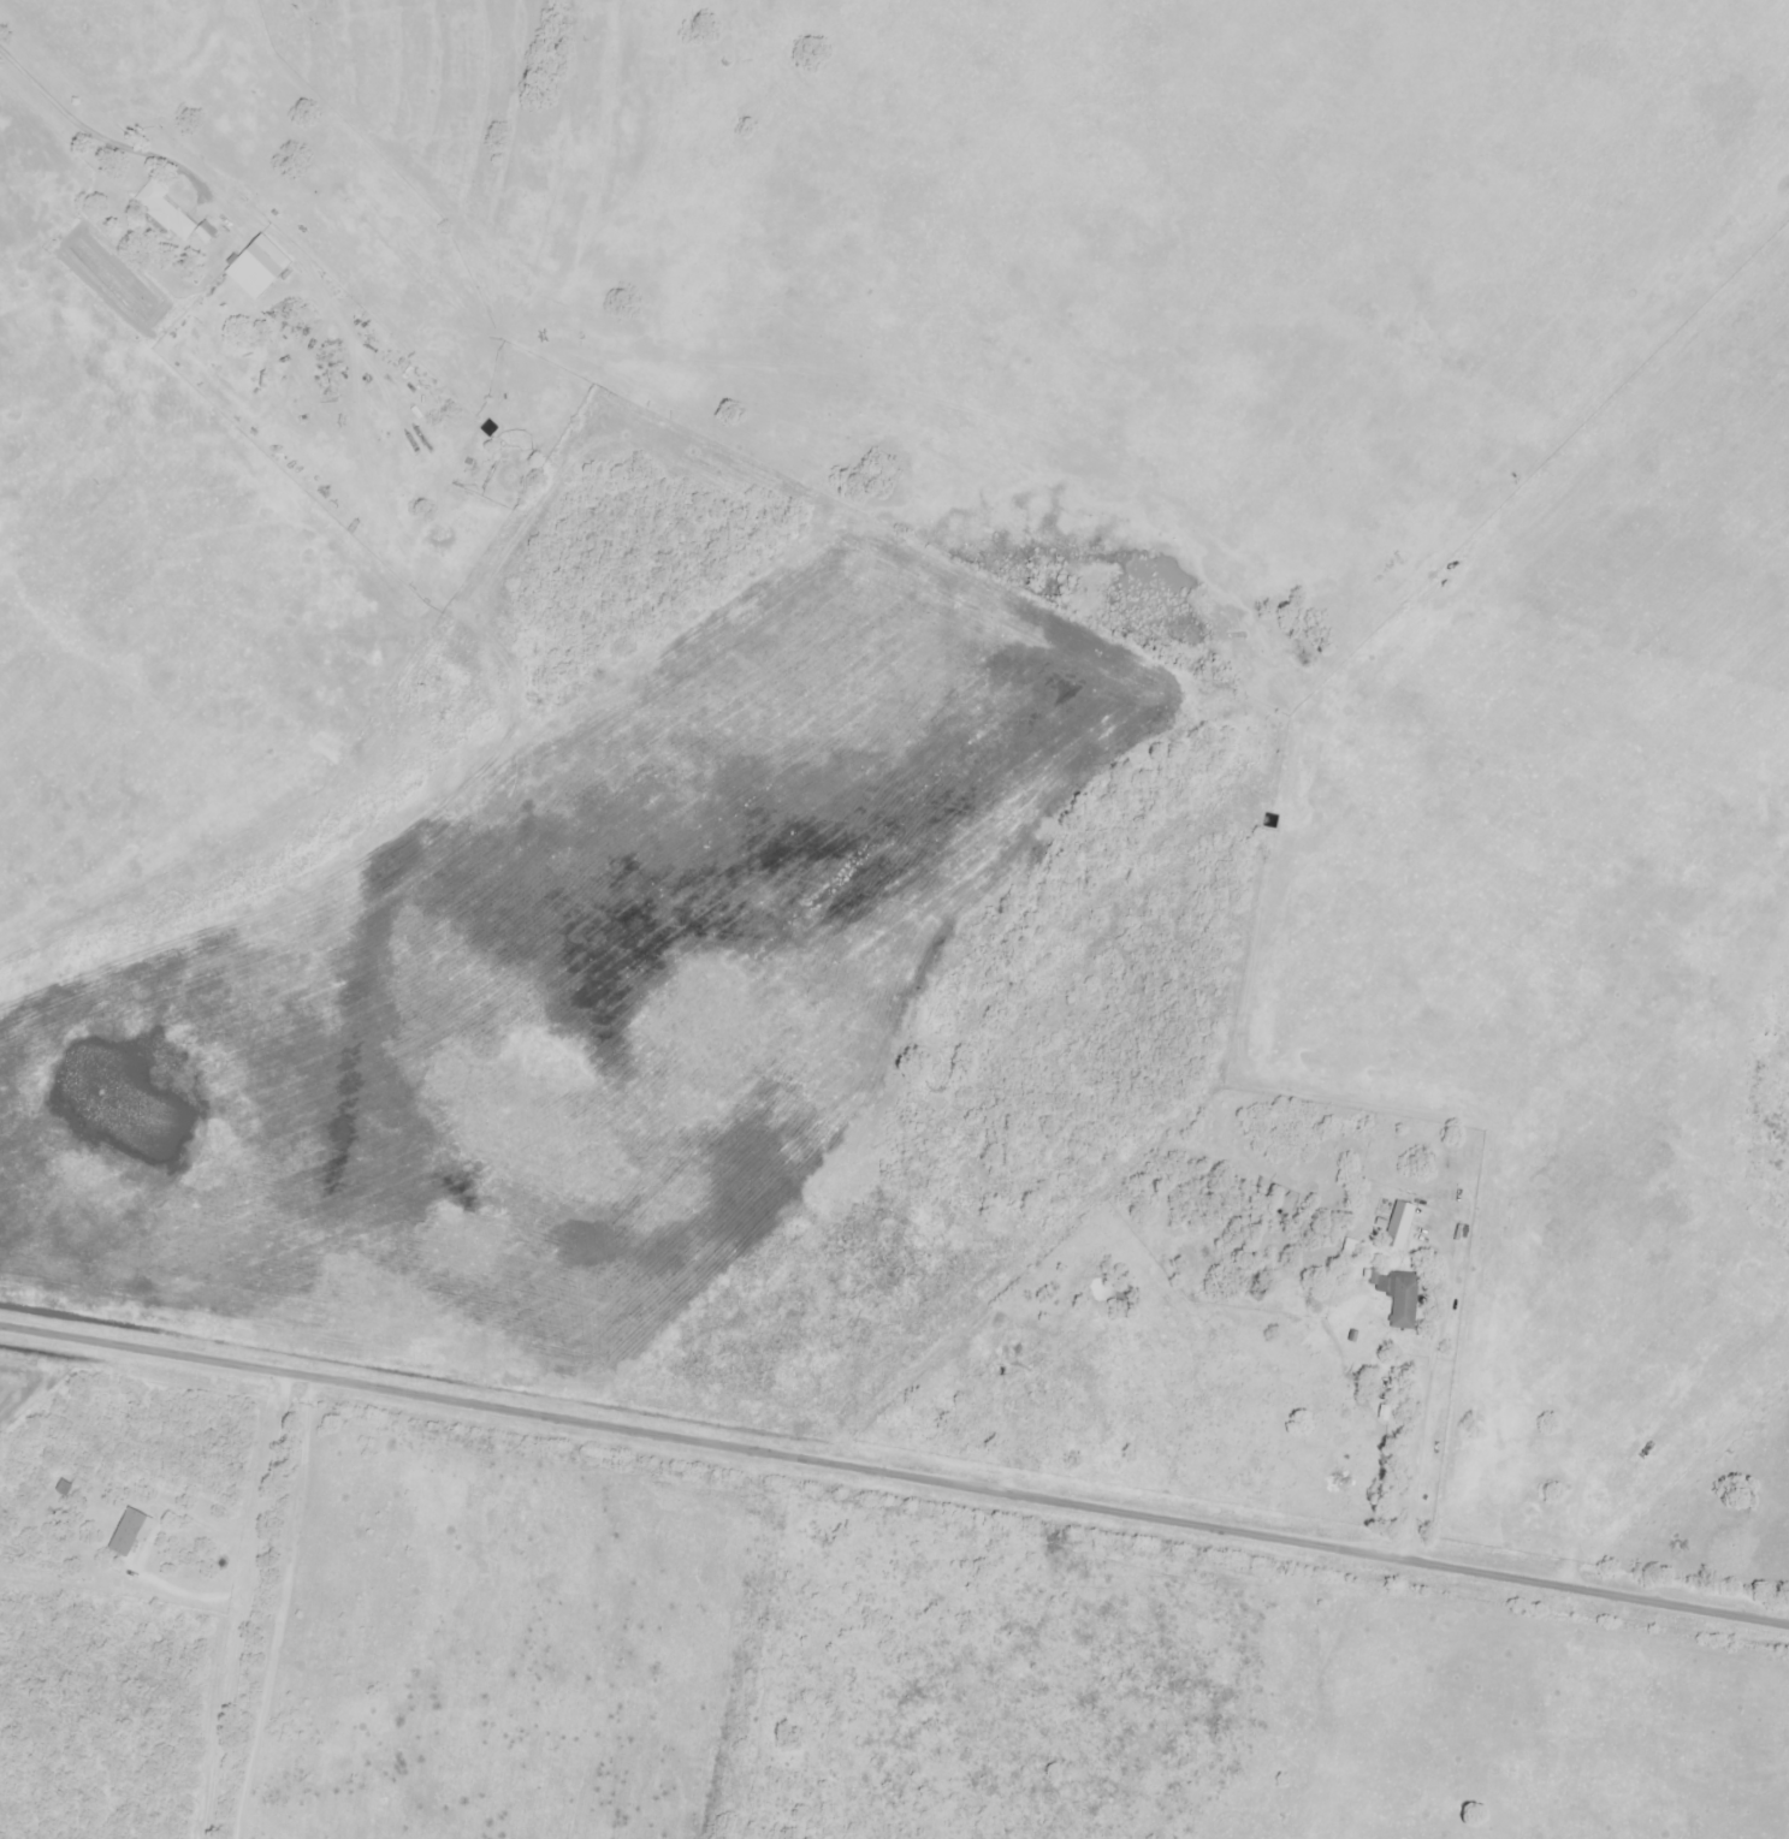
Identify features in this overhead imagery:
road: (97, 138)
building: (170, 215)
building: (269, 257)
building: (1399, 1223)
building: (1403, 1301)
road: (894, 1476)
road: (144, 1552)
road: (241, 1606)

